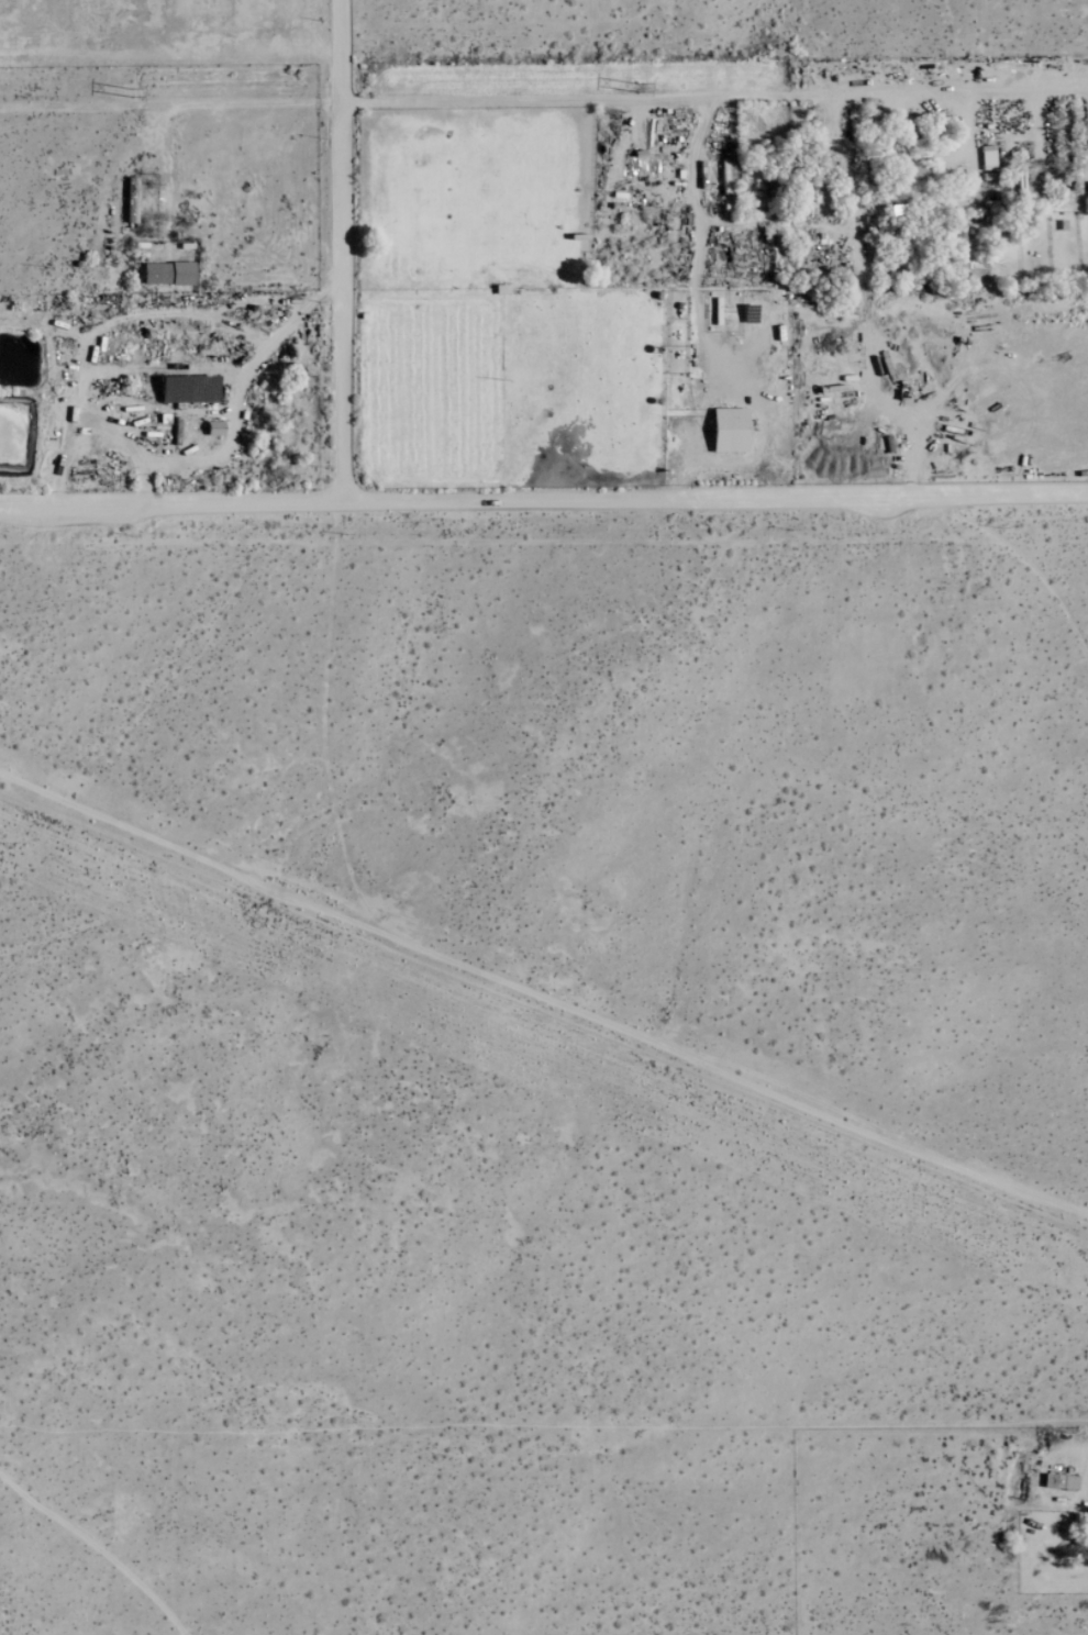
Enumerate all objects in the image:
power tower: (635, 89)
power tower: (130, 92)
road: (544, 103)
building: (988, 159)
building: (914, 177)
road: (343, 249)
building: (168, 275)
building: (730, 432)
road: (543, 497)

